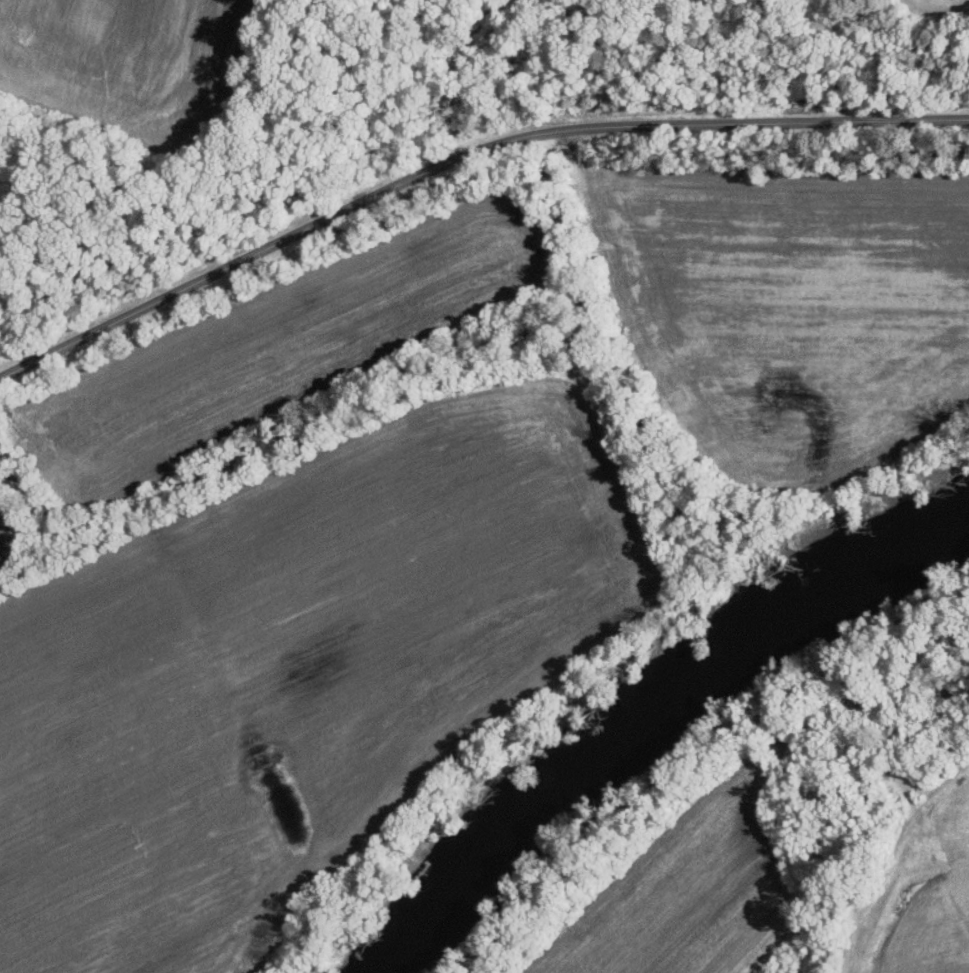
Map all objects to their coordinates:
road: (461, 156)
river: (862, 577)
river: (746, 646)
river: (542, 794)

